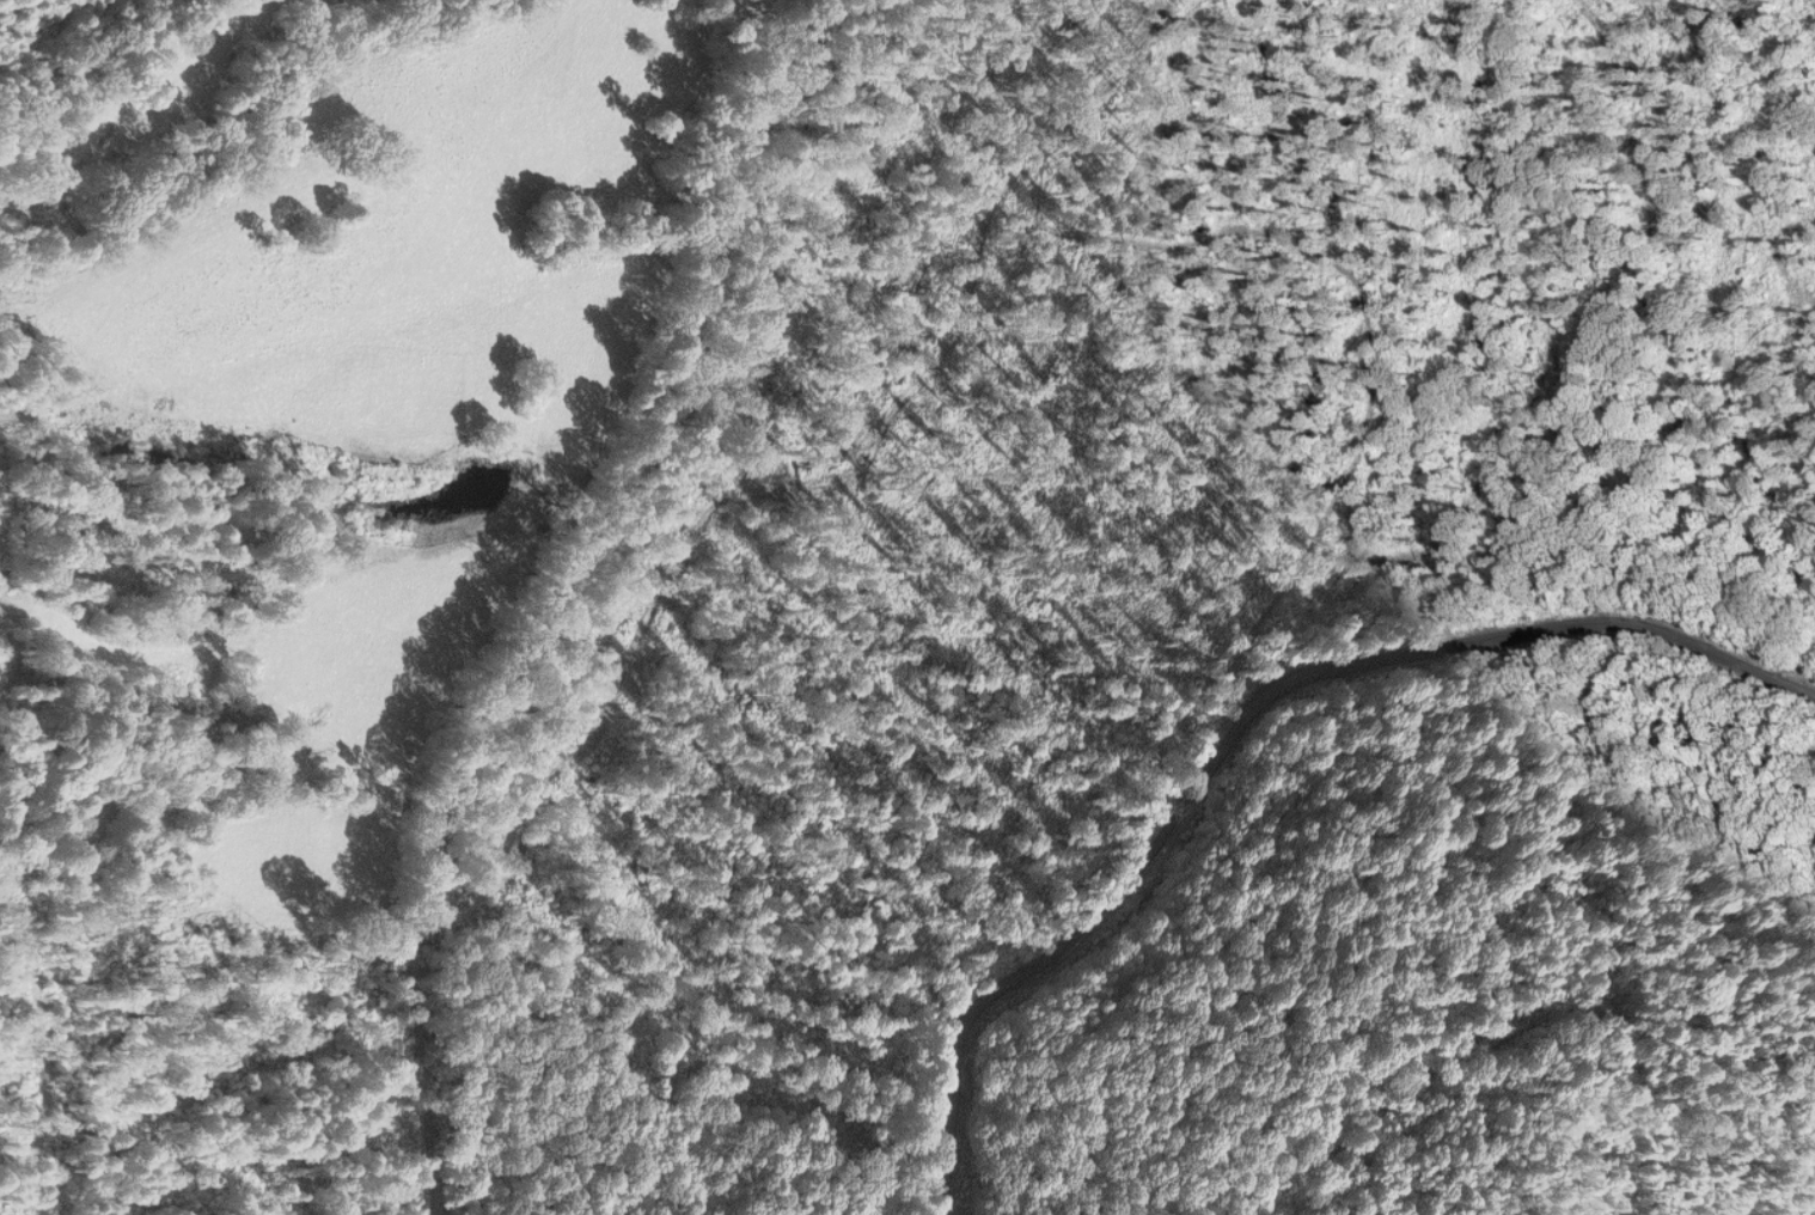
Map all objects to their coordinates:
road: (1235, 727)

